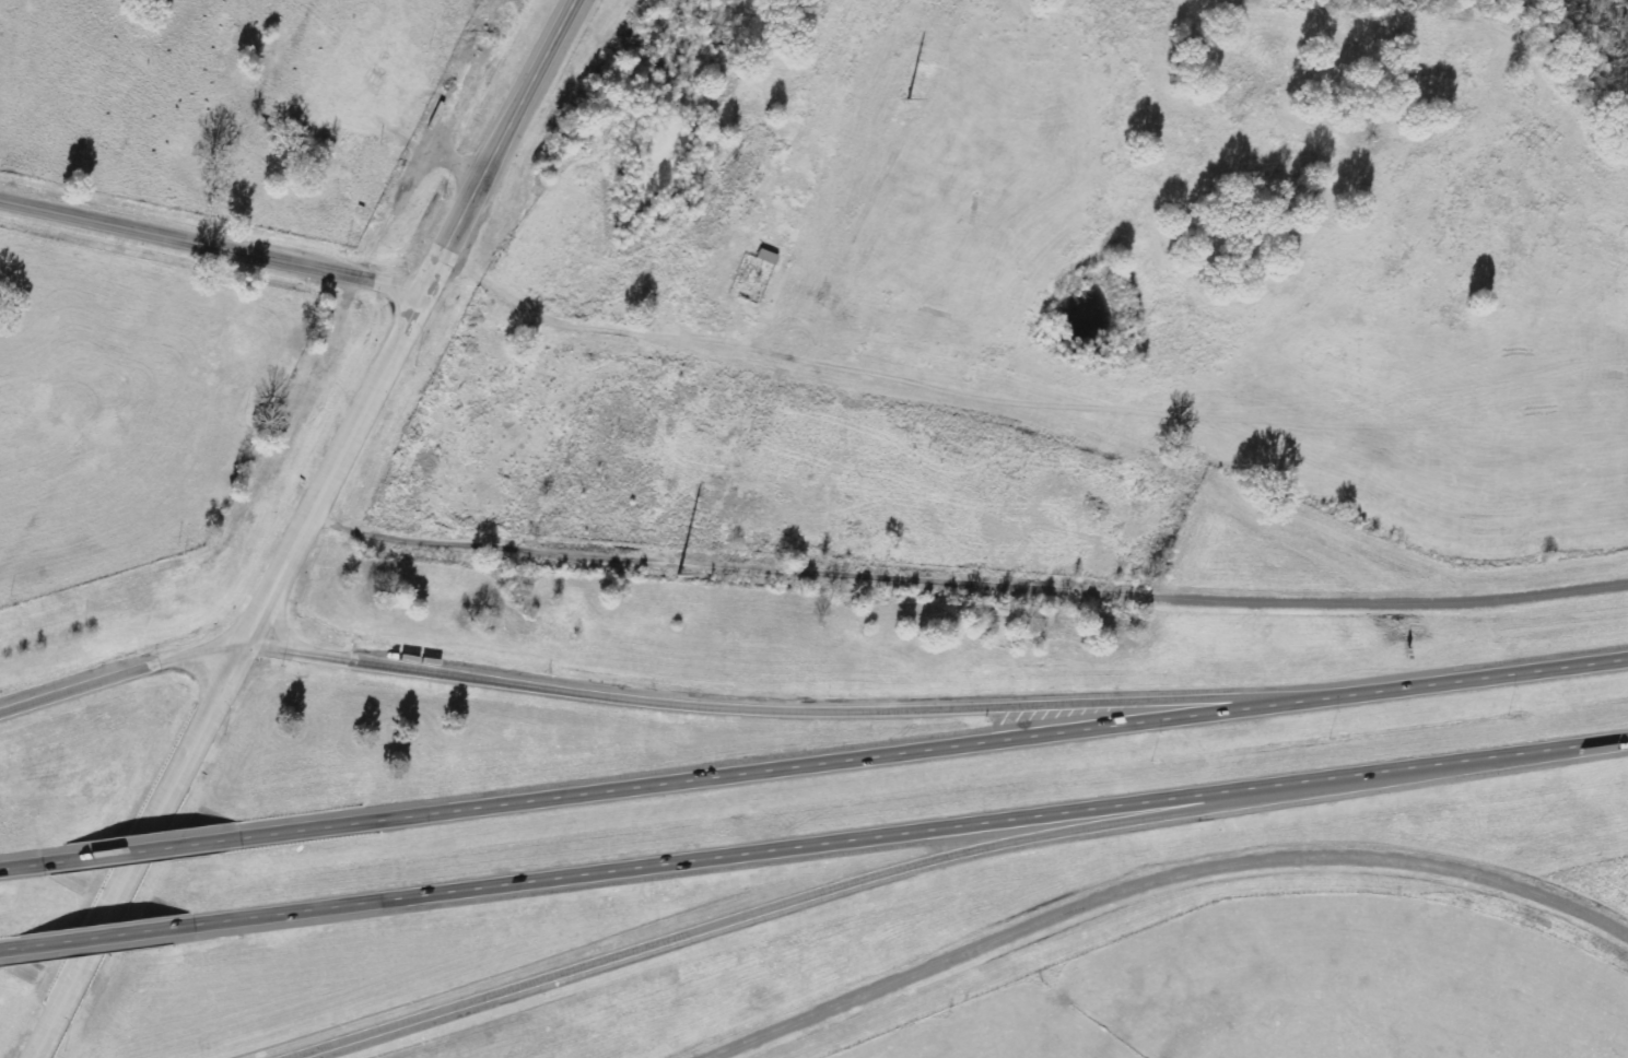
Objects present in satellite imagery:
power tower: (906, 93)
road: (508, 121)
road: (209, 247)
road: (761, 358)
road: (963, 577)
road: (236, 648)
road: (120, 675)
road: (782, 704)
road: (927, 745)
road: (902, 832)
road: (140, 847)
road: (26, 861)
road: (1162, 883)
road: (727, 918)
road: (93, 936)
road: (4, 945)

